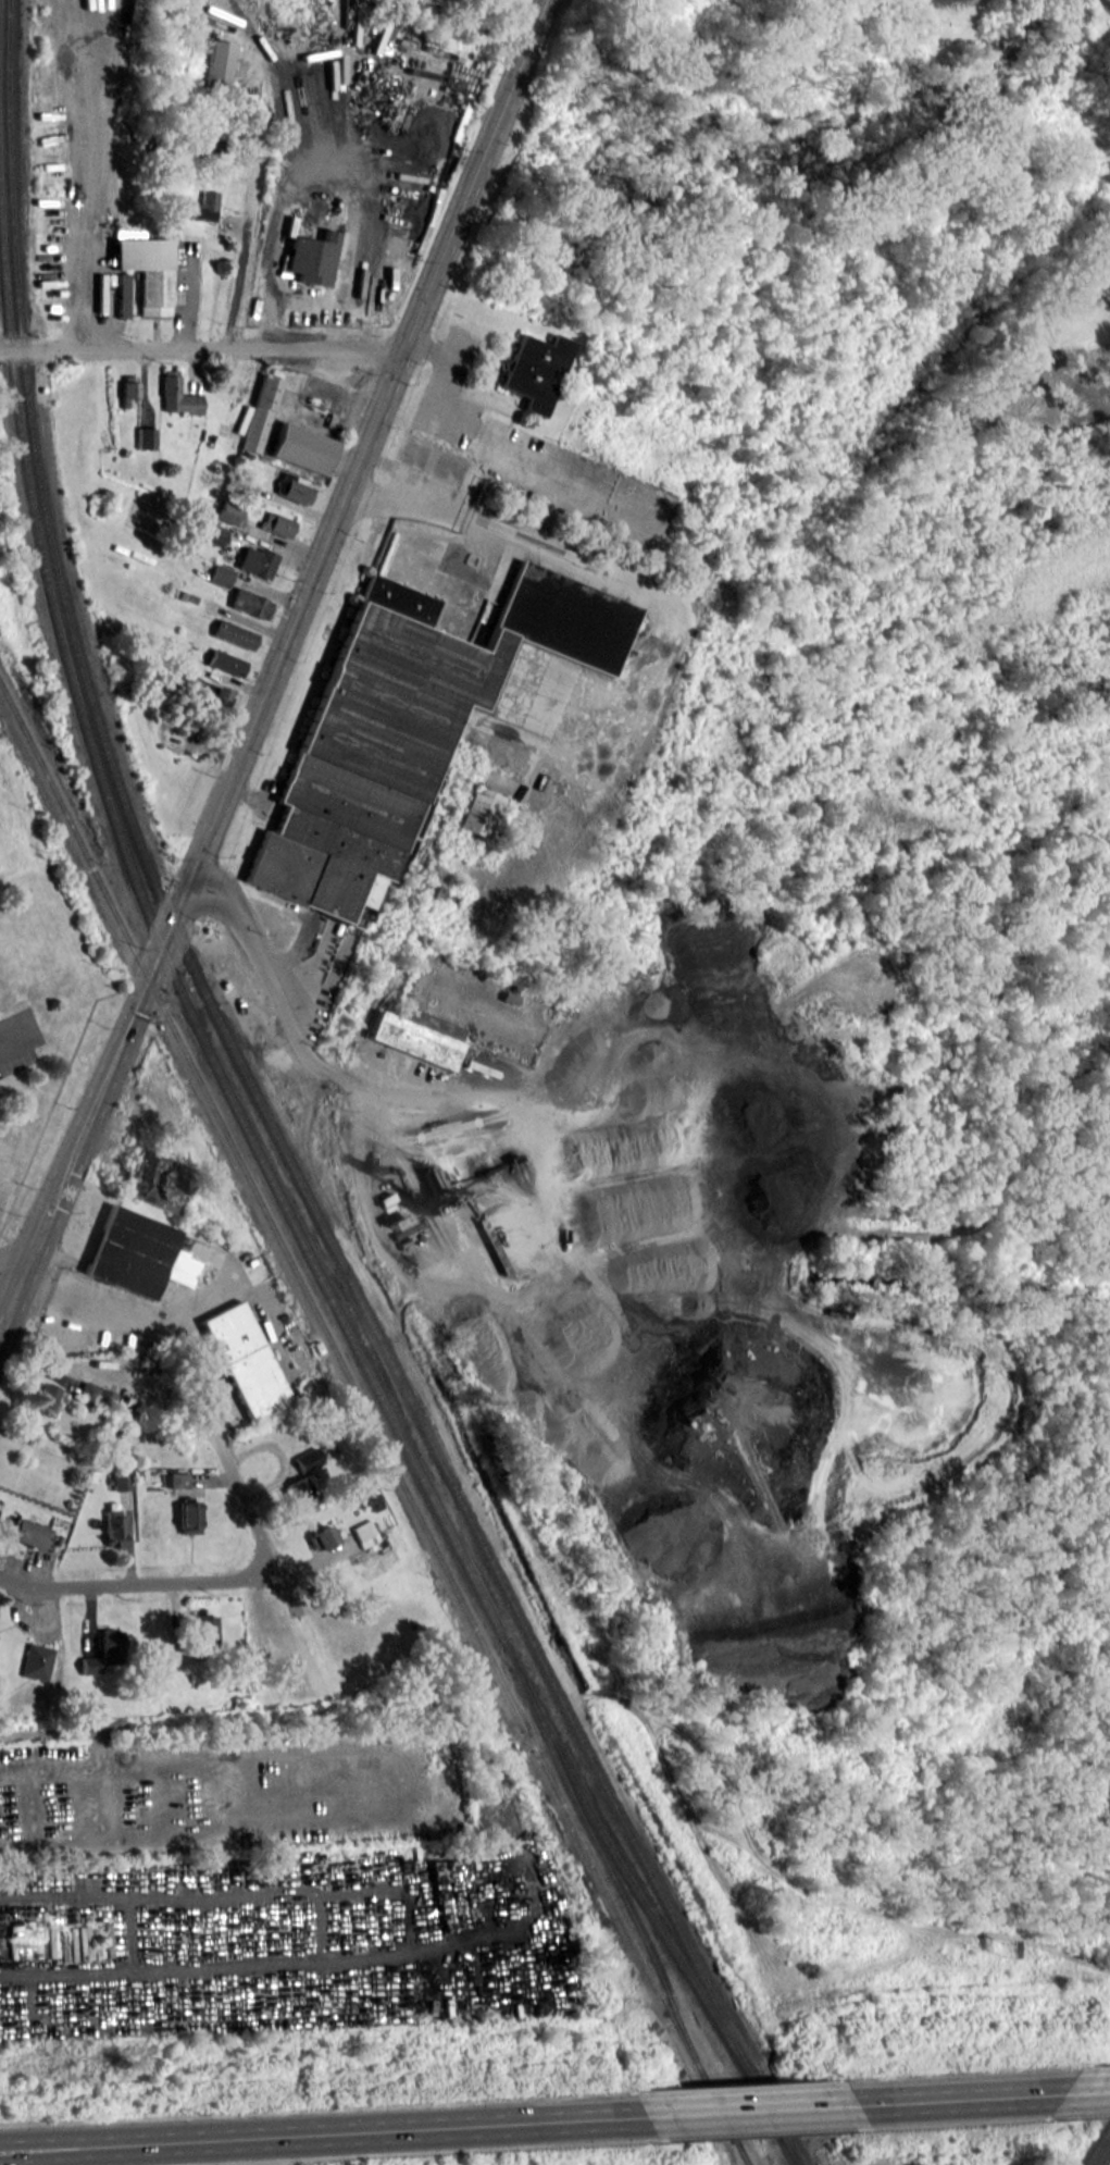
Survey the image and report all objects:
park: (1109, 0)
road: (1109, 0)
building: (219, 62)
building: (398, 128)
building: (1056, 134)
building: (215, 152)
building: (205, 206)
road: (242, 243)
building: (312, 257)
building: (146, 268)
building: (122, 295)
road: (201, 348)
railway: (22, 355)
building: (536, 370)
road: (440, 378)
building: (128, 391)
building: (178, 394)
building: (261, 411)
building: (145, 437)
building: (303, 448)
building: (295, 487)
road: (388, 499)
building: (228, 512)
building: (277, 524)
building: (210, 532)
building: (257, 560)
building: (221, 576)
building: (250, 603)
building: (235, 634)
building: (226, 661)
road: (273, 669)
building: (215, 698)
building: (406, 726)
building: (479, 811)
railway: (140, 852)
road: (295, 1028)
building: (419, 1036)
road: (9, 1047)
railway: (333, 1090)
building: (157, 1180)
railway: (277, 1192)
building: (138, 1253)
road: (12, 1275)
road: (128, 1312)
building: (245, 1359)
railway: (366, 1413)
railway: (420, 1446)
road: (255, 1527)
railway: (500, 1579)
road: (137, 1584)
road: (92, 1740)
railway: (610, 1875)
road: (1094, 2090)
road: (959, 2096)
road: (748, 2107)
road: (327, 2130)
railway: (1096, 2144)
railway: (738, 2153)
railway: (739, 2153)

